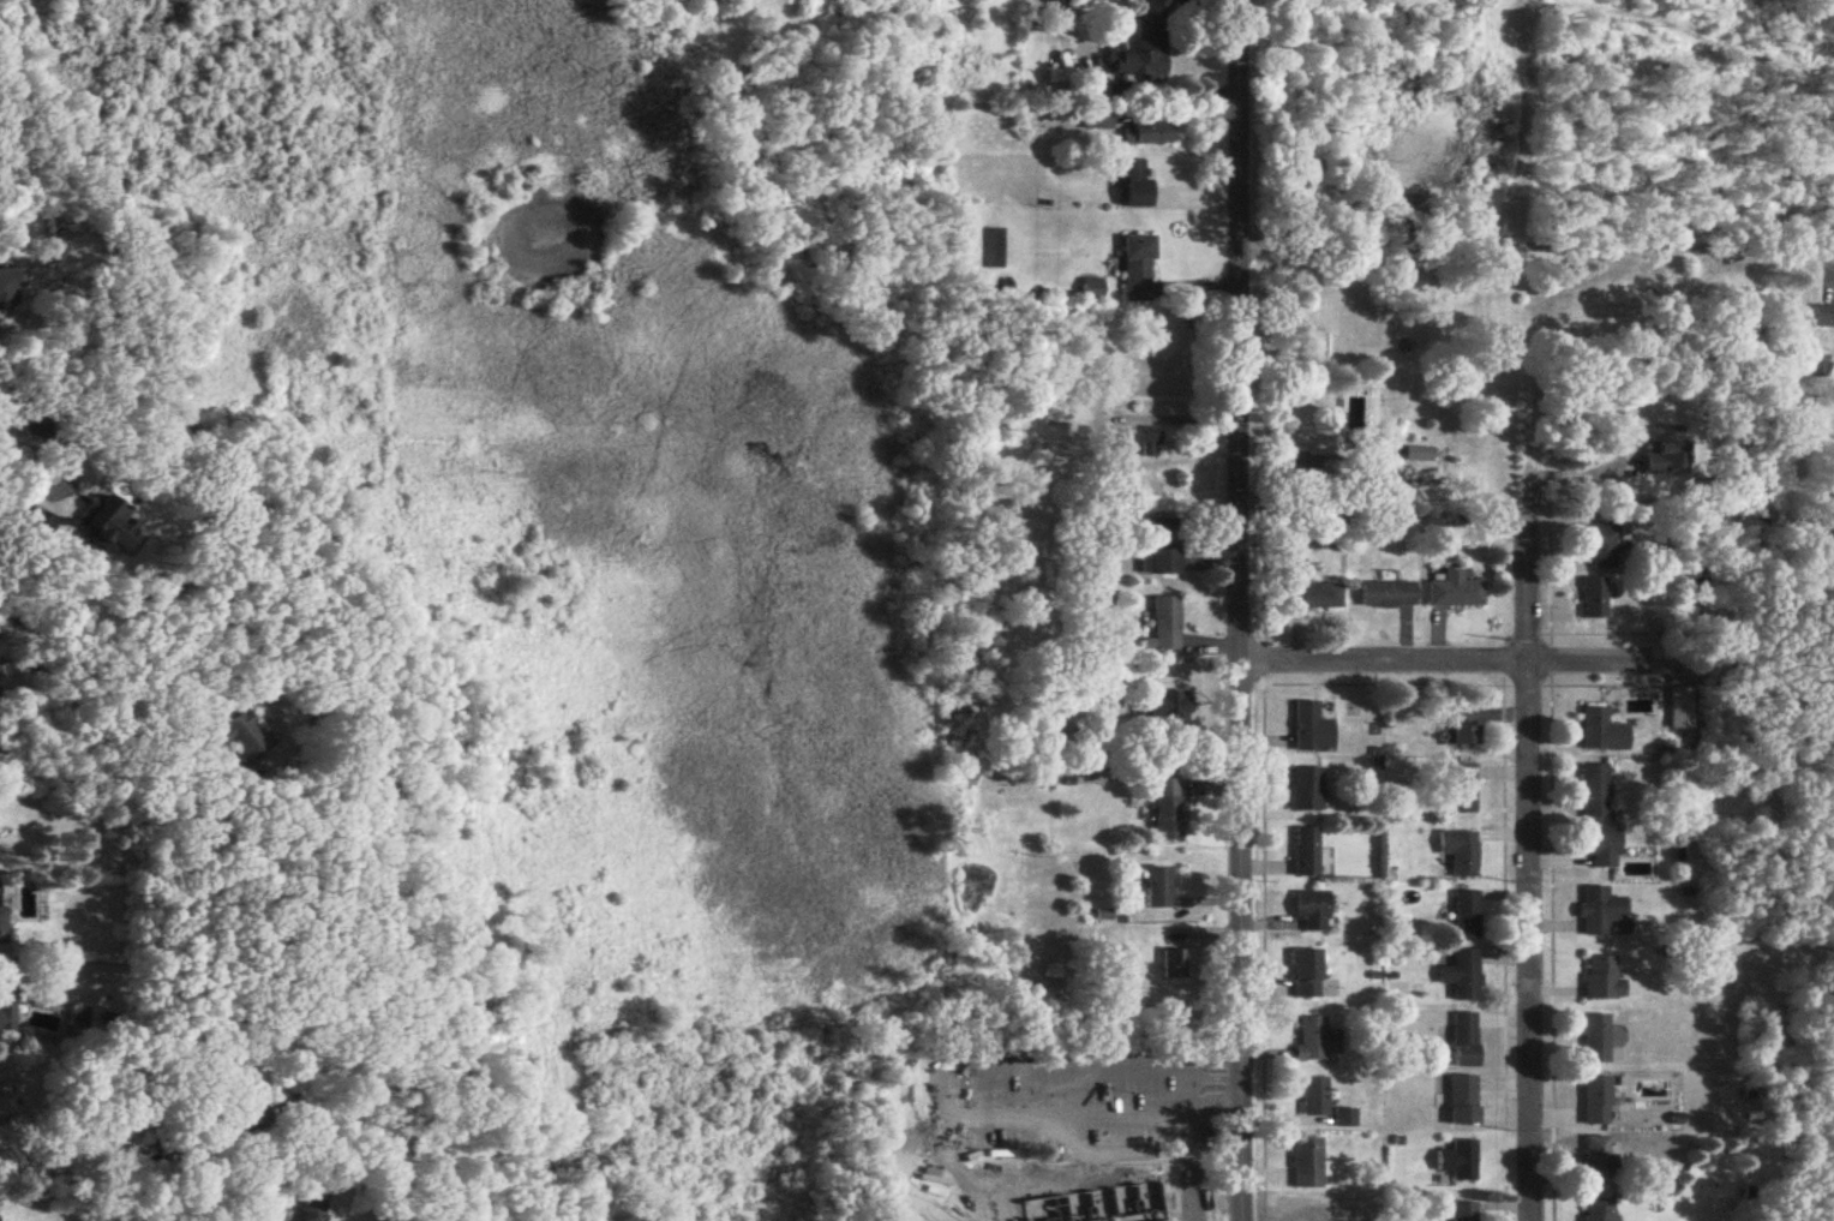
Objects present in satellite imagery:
building: (1138, 55)
building: (1103, 95)
building: (1097, 120)
building: (1145, 134)
building: (1133, 185)
road: (1535, 250)
building: (1135, 270)
building: (1823, 317)
building: (1818, 367)
building: (1134, 441)
building: (1666, 451)
building: (1415, 455)
road: (1568, 473)
building: (1386, 484)
building: (31, 525)
building: (101, 526)
building: (1600, 546)
building: (1161, 550)
building: (1452, 592)
building: (1385, 597)
building: (1312, 599)
building: (1590, 599)
road: (1235, 610)
building: (1164, 620)
road: (1457, 662)
building: (1163, 707)
building: (1460, 728)
building: (1307, 730)
building: (1596, 732)
building: (240, 742)
building: (1303, 790)
building: (1458, 790)
building: (1593, 794)
building: (1165, 810)
building: (1600, 849)
building: (1302, 854)
building: (1457, 854)
road: (1528, 864)
building: (1155, 890)
building: (1311, 911)
building: (1598, 912)
building: (1464, 916)
building: (0, 924)
building: (1174, 965)
building: (1305, 975)
building: (1460, 976)
building: (1601, 981)
building: (5, 1004)
building: (1595, 1041)
building: (1314, 1042)
building: (1463, 1042)
road: (1189, 1084)
road: (1068, 1087)
road: (936, 1088)
building: (1313, 1097)
building: (1461, 1100)
building: (1594, 1101)
road: (1116, 1147)
building: (1462, 1161)
building: (1596, 1161)
building: (1306, 1163)
road: (1194, 1167)
road: (91, 1196)
building: (308, 1201)
building: (1596, 1209)
building: (1083, 1220)

